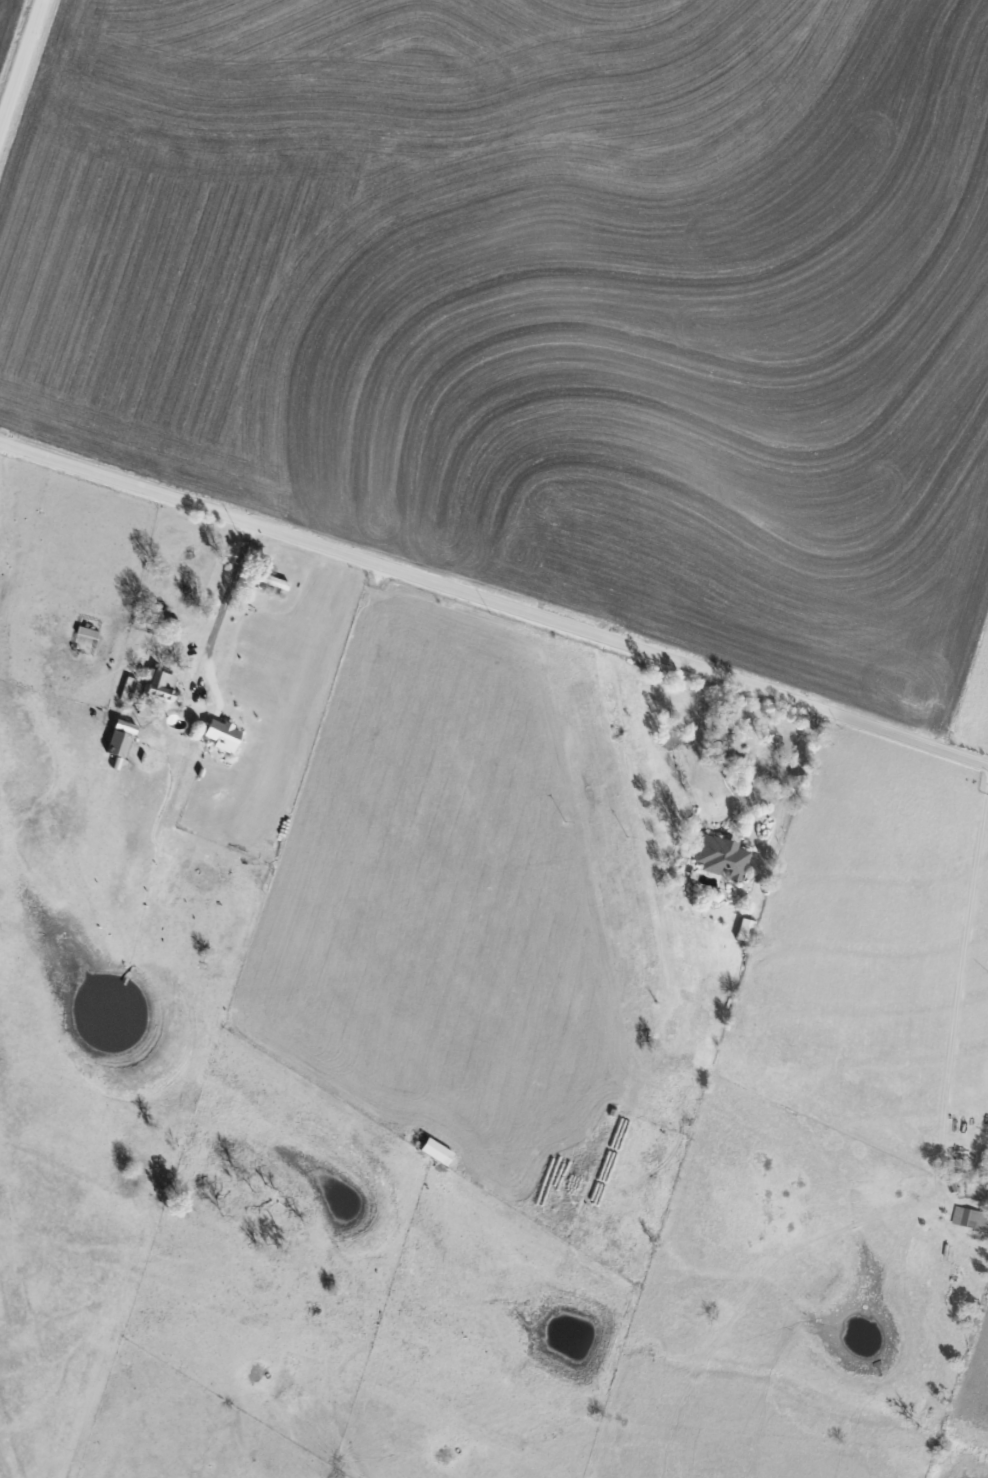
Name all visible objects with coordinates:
road: (22, 66)
road: (223, 597)
road: (493, 603)
building: (87, 631)
building: (162, 687)
building: (223, 735)
building: (119, 743)
road: (790, 779)
building: (723, 855)
building: (745, 928)
building: (438, 1150)
building: (970, 1217)

